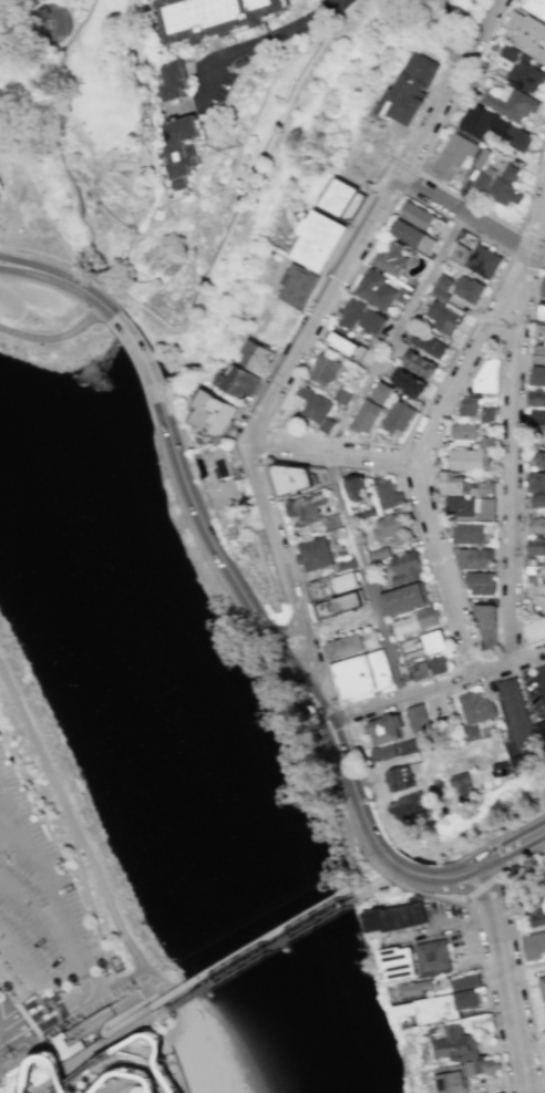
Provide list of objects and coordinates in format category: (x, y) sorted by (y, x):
building: (536, 8)
building: (212, 18)
park: (37, 24)
road: (481, 34)
building: (528, 34)
road: (446, 35)
road: (268, 40)
building: (510, 53)
building: (241, 62)
building: (525, 78)
building: (174, 82)
parking lot: (222, 86)
building: (411, 90)
road: (141, 92)
building: (514, 103)
park: (92, 113)
building: (493, 127)
building: (181, 152)
building: (453, 156)
road: (235, 161)
road: (403, 164)
building: (483, 178)
road: (407, 181)
road: (378, 183)
road: (391, 186)
building: (506, 187)
road: (445, 188)
building: (343, 199)
road: (101, 203)
road: (145, 212)
road: (471, 216)
road: (41, 217)
building: (422, 218)
road: (535, 228)
building: (412, 237)
building: (321, 239)
road: (515, 244)
building: (461, 254)
building: (389, 258)
road: (542, 258)
building: (484, 262)
road: (55, 265)
road: (542, 268)
road: (53, 275)
building: (444, 283)
road: (48, 286)
building: (300, 286)
building: (376, 289)
building: (470, 289)
building: (544, 291)
building: (440, 295)
road: (100, 302)
road: (107, 308)
building: (542, 313)
road: (96, 317)
road: (312, 317)
building: (362, 318)
building: (442, 318)
road: (161, 322)
road: (394, 331)
building: (539, 331)
road: (48, 332)
road: (305, 341)
building: (345, 344)
building: (426, 344)
building: (539, 353)
building: (259, 355)
building: (419, 364)
road: (146, 369)
building: (325, 371)
road: (137, 372)
building: (538, 375)
building: (486, 378)
building: (239, 382)
building: (409, 382)
building: (382, 392)
building: (342, 396)
building: (536, 398)
building: (317, 406)
building: (470, 408)
building: (216, 411)
building: (489, 414)
building: (367, 416)
building: (397, 416)
building: (537, 417)
road: (497, 419)
building: (463, 432)
road: (259, 442)
road: (364, 442)
building: (489, 443)
road: (328, 451)
road: (521, 456)
road: (399, 458)
building: (539, 458)
road: (295, 460)
building: (470, 460)
road: (410, 461)
road: (512, 465)
building: (299, 481)
building: (537, 481)
building: (452, 484)
building: (224, 485)
building: (358, 488)
building: (484, 489)
building: (388, 493)
building: (538, 502)
building: (461, 506)
building: (307, 508)
building: (486, 508)
building: (332, 523)
building: (537, 523)
building: (392, 528)
building: (467, 534)
building: (535, 547)
building: (380, 554)
building: (315, 555)
building: (476, 559)
road: (451, 560)
building: (345, 563)
building: (405, 568)
road: (363, 574)
road: (237, 581)
building: (335, 585)
building: (481, 585)
road: (228, 592)
building: (404, 599)
building: (340, 606)
building: (415, 621)
building: (485, 623)
building: (534, 629)
building: (434, 642)
building: (353, 645)
building: (410, 647)
road: (507, 649)
road: (300, 651)
road: (307, 658)
road: (470, 658)
building: (439, 664)
road: (542, 664)
building: (402, 670)
building: (420, 671)
building: (363, 676)
road: (435, 687)
parking lot: (534, 688)
road: (434, 705)
building: (475, 707)
road: (327, 709)
road: (316, 715)
building: (521, 715)
road: (341, 716)
road: (403, 716)
building: (418, 720)
park: (173, 721)
river: (208, 721)
building: (385, 728)
road: (330, 731)
building: (471, 733)
road: (328, 741)
road: (35, 744)
building: (407, 746)
building: (382, 752)
building: (535, 755)
road: (353, 756)
building: (517, 764)
building: (500, 769)
building: (398, 777)
building: (461, 784)
road: (354, 790)
road: (342, 792)
building: (409, 805)
road: (338, 816)
road: (4, 828)
railway: (456, 834)
road: (4, 837)
road: (513, 844)
road: (523, 856)
road: (407, 867)
road: (465, 869)
road: (383, 872)
building: (524, 874)
road: (34, 876)
road: (481, 886)
railway: (361, 891)
road: (439, 898)
road: (107, 905)
building: (536, 910)
parking lot: (38, 911)
road: (38, 915)
building: (398, 917)
road: (94, 922)
road: (248, 947)
building: (534, 947)
railway: (255, 957)
building: (435, 958)
building: (400, 962)
building: (114, 963)
road: (29, 972)
road: (505, 977)
road: (524, 979)
building: (467, 982)
road: (86, 984)
building: (542, 987)
road: (116, 988)
building: (418, 988)
road: (487, 997)
building: (544, 1004)
building: (441, 1008)
road: (19, 1017)
road: (41, 1020)
road: (113, 1020)
road: (174, 1027)
road: (50, 1032)
road: (10, 1035)
road: (13, 1037)
building: (457, 1044)
road: (10, 1051)
railway: (96, 1055)
road: (19, 1056)
road: (158, 1060)
road: (84, 1065)
theme park: (132, 1070)
road: (142, 1070)
building: (454, 1080)
building: (502, 1092)

